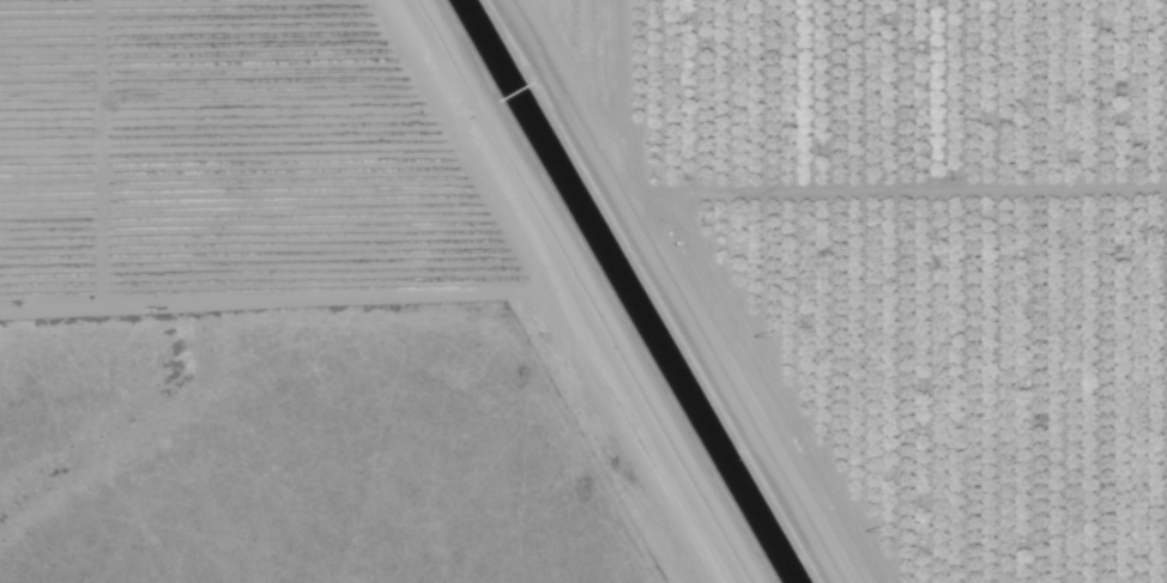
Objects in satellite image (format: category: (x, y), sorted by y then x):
road: (728, 299)

